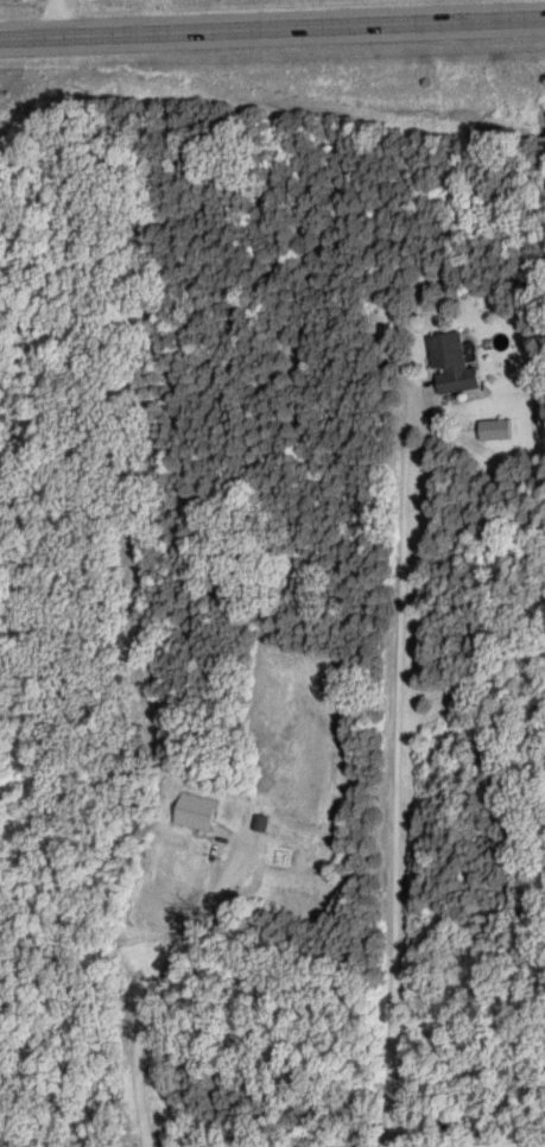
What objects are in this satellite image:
road: (50, 18)
road: (272, 28)
building: (460, 365)
building: (495, 430)
road: (395, 773)

